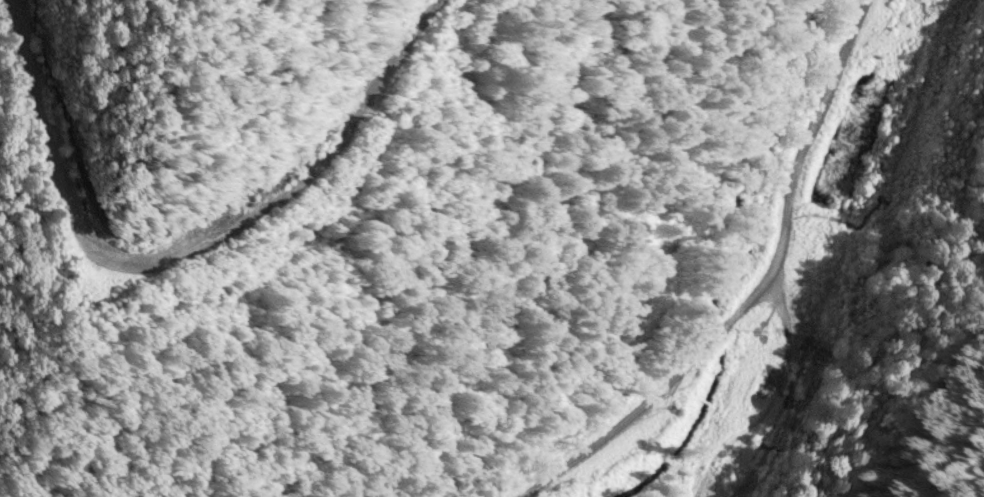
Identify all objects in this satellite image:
road: (727, 274)

